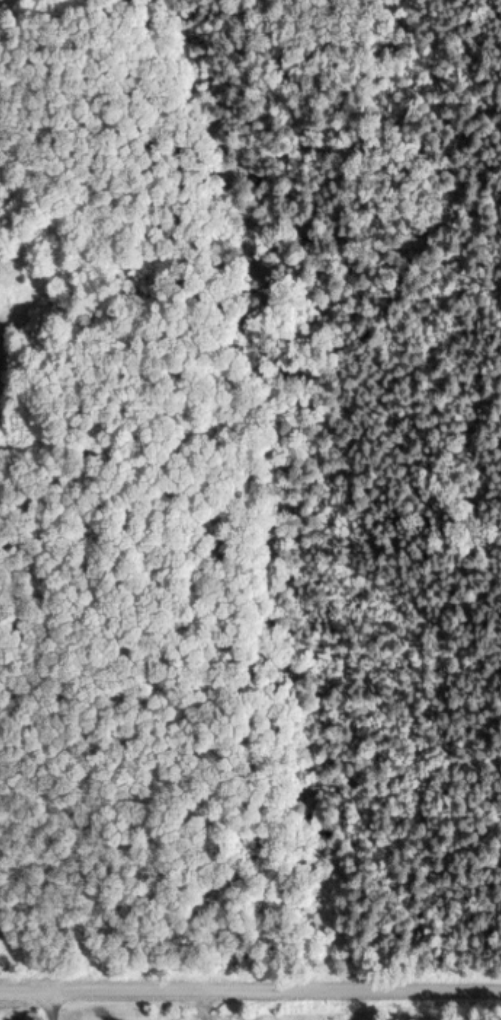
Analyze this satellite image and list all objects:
road: (250, 994)

